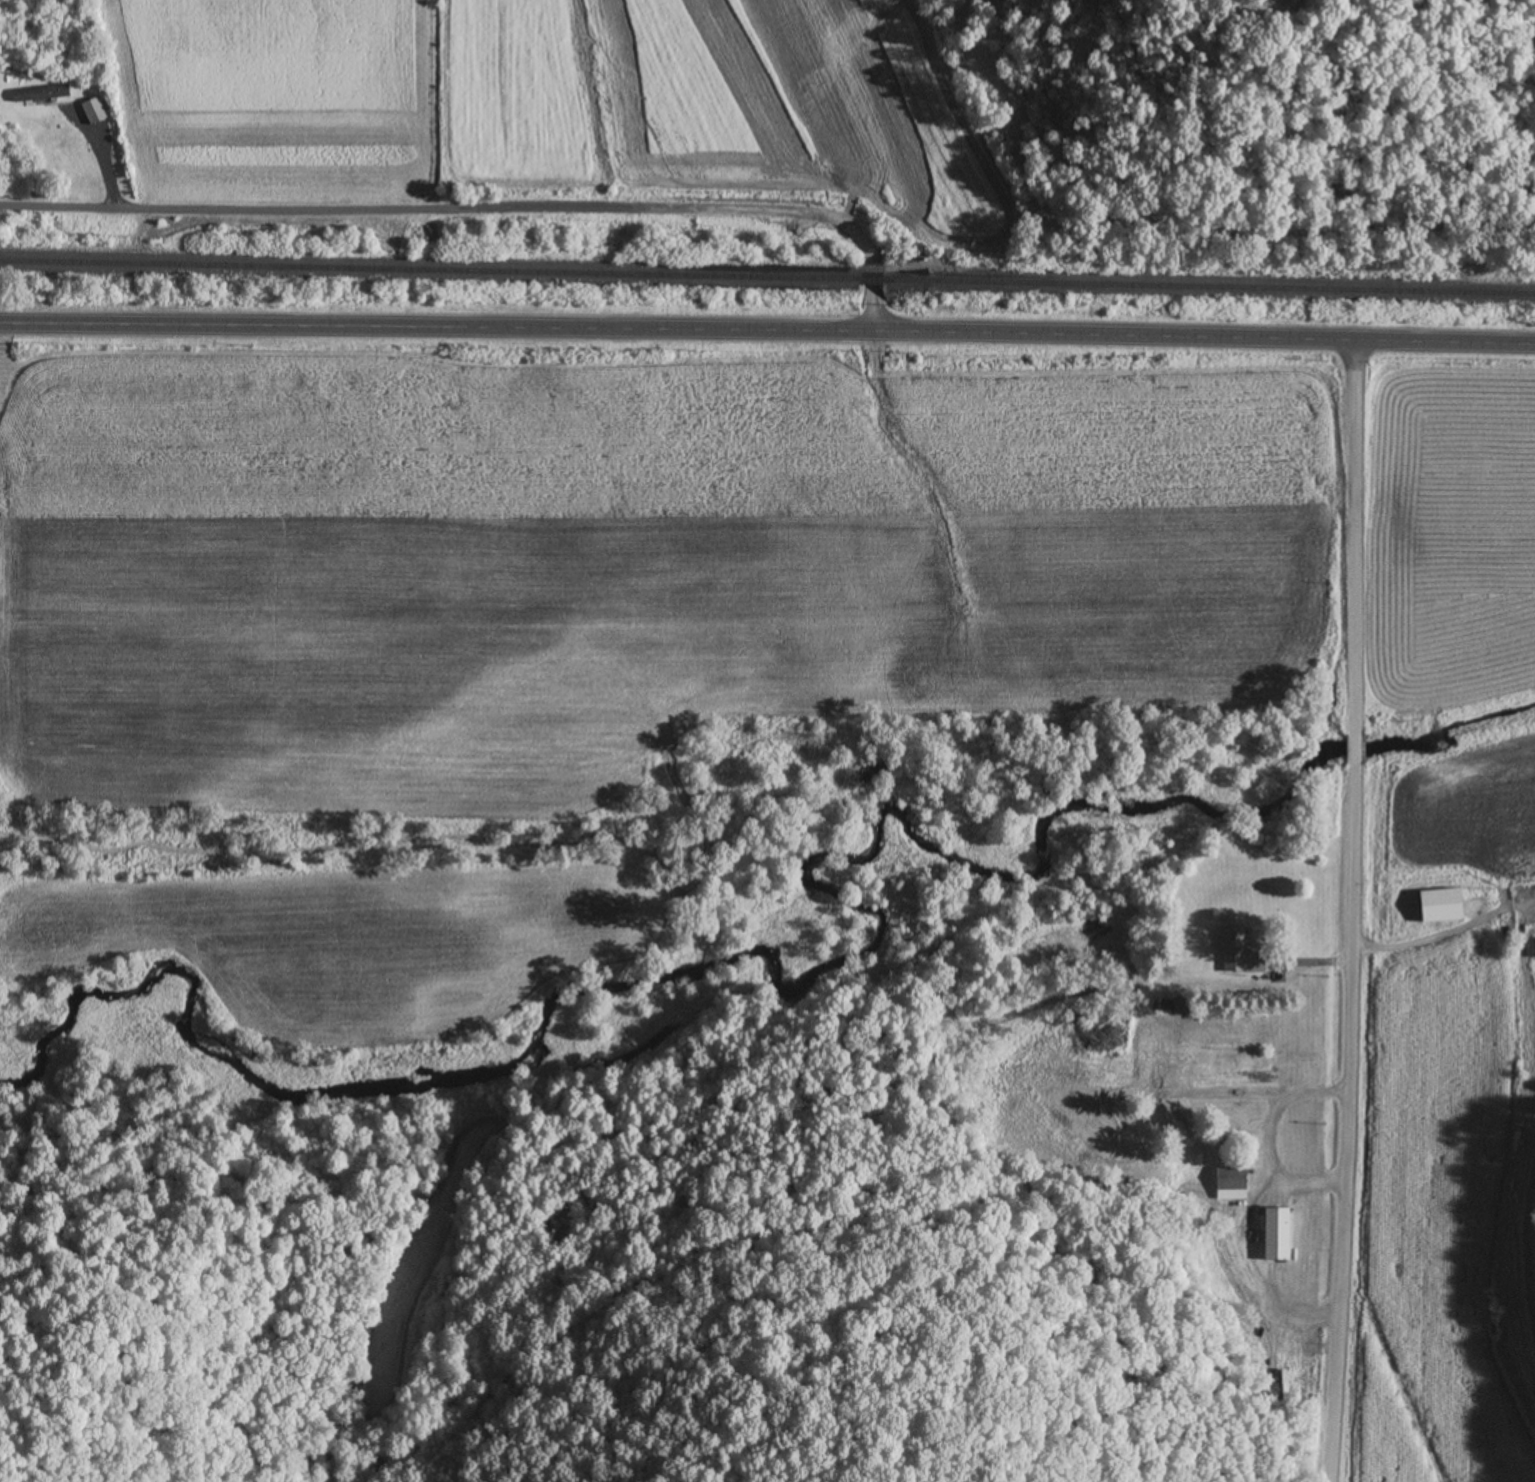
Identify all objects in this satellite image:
building: (37, 94)
building: (92, 110)
road: (482, 206)
railway: (427, 270)
railway: (868, 279)
railway: (1209, 287)
road: (767, 330)
road: (1353, 911)
building: (1239, 952)
building: (1181, 1126)
road: (1270, 1136)
building: (1230, 1178)
building: (1276, 1233)
road: (1296, 1304)

